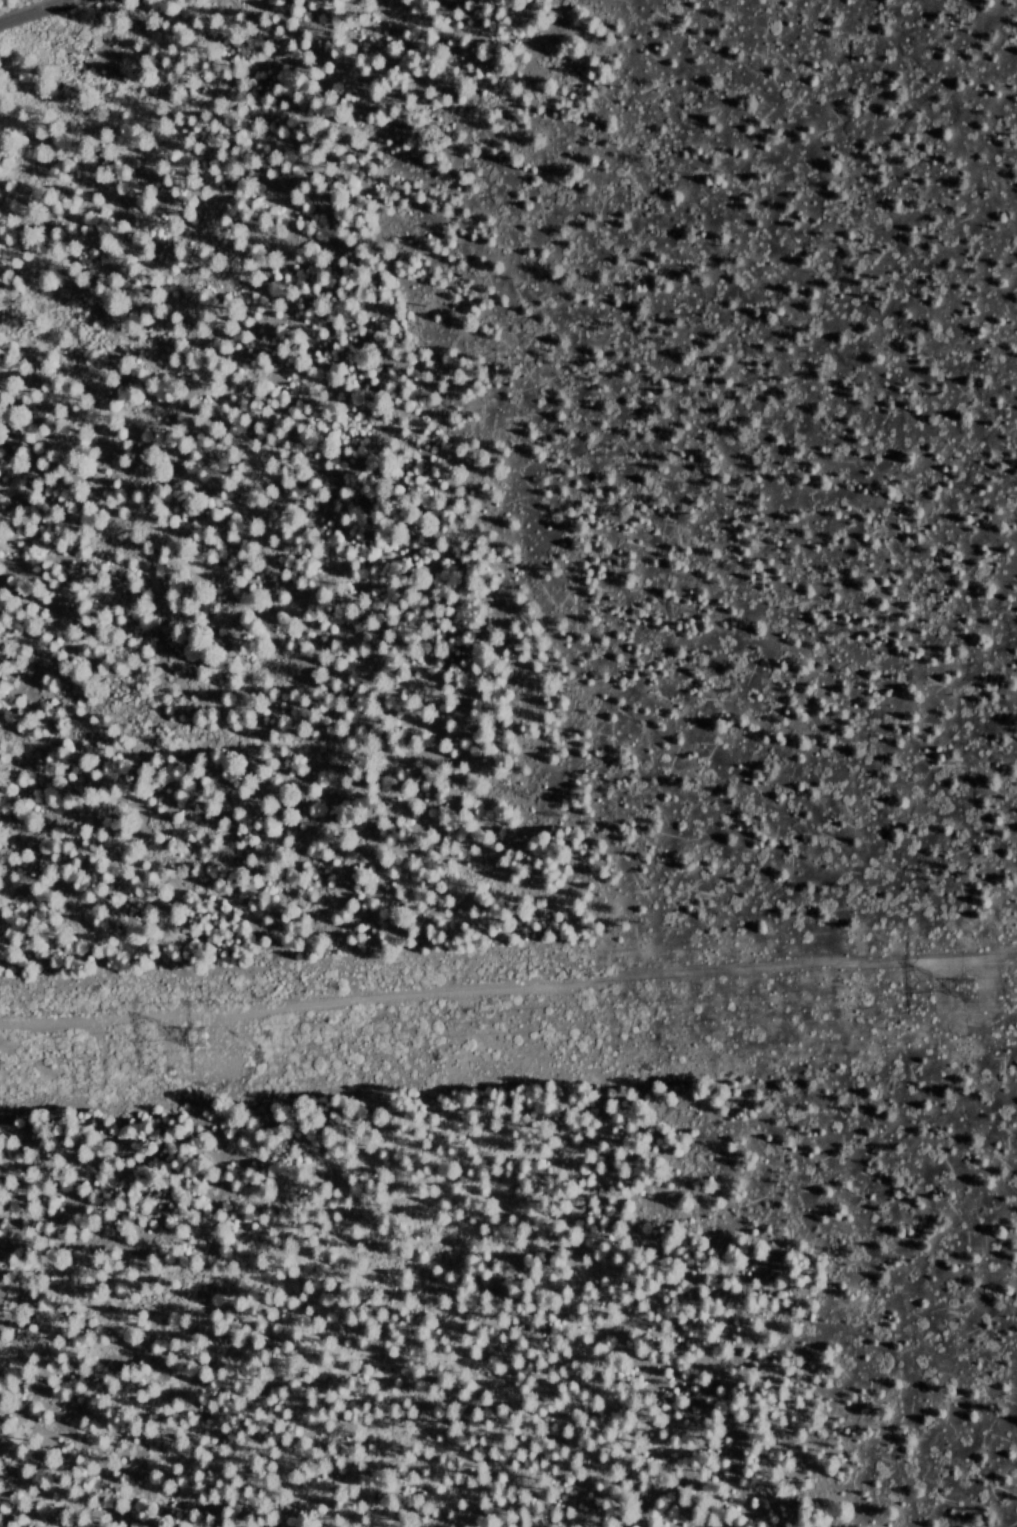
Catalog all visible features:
road: (54, 15)
power tower: (970, 982)
power tower: (206, 1044)

